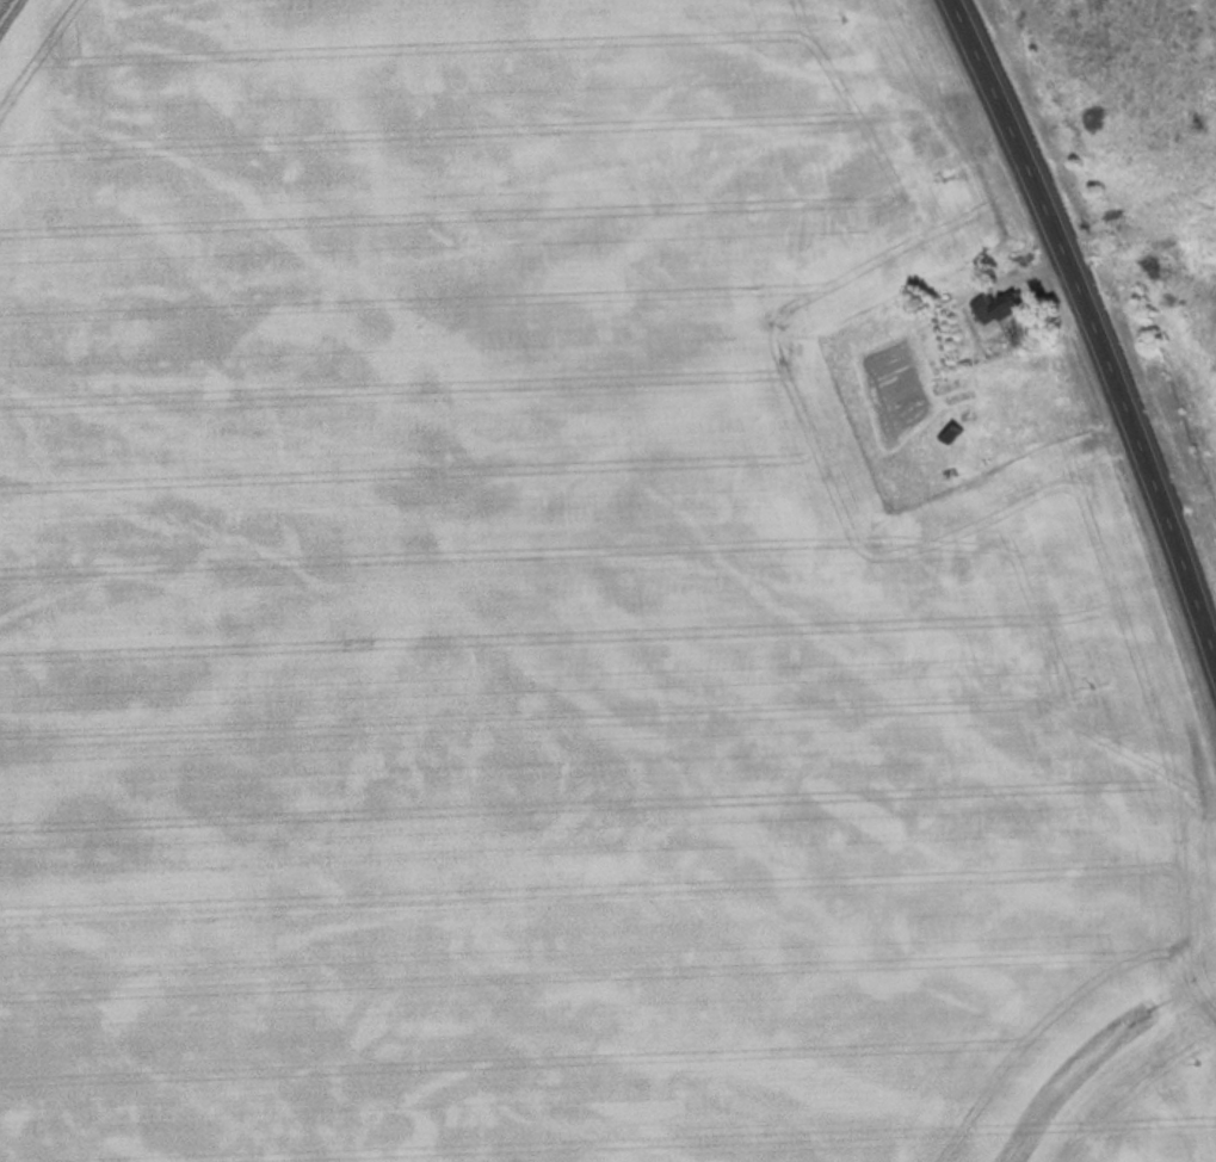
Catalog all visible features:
building: (895, 230)
building: (1010, 304)
road: (1098, 323)

